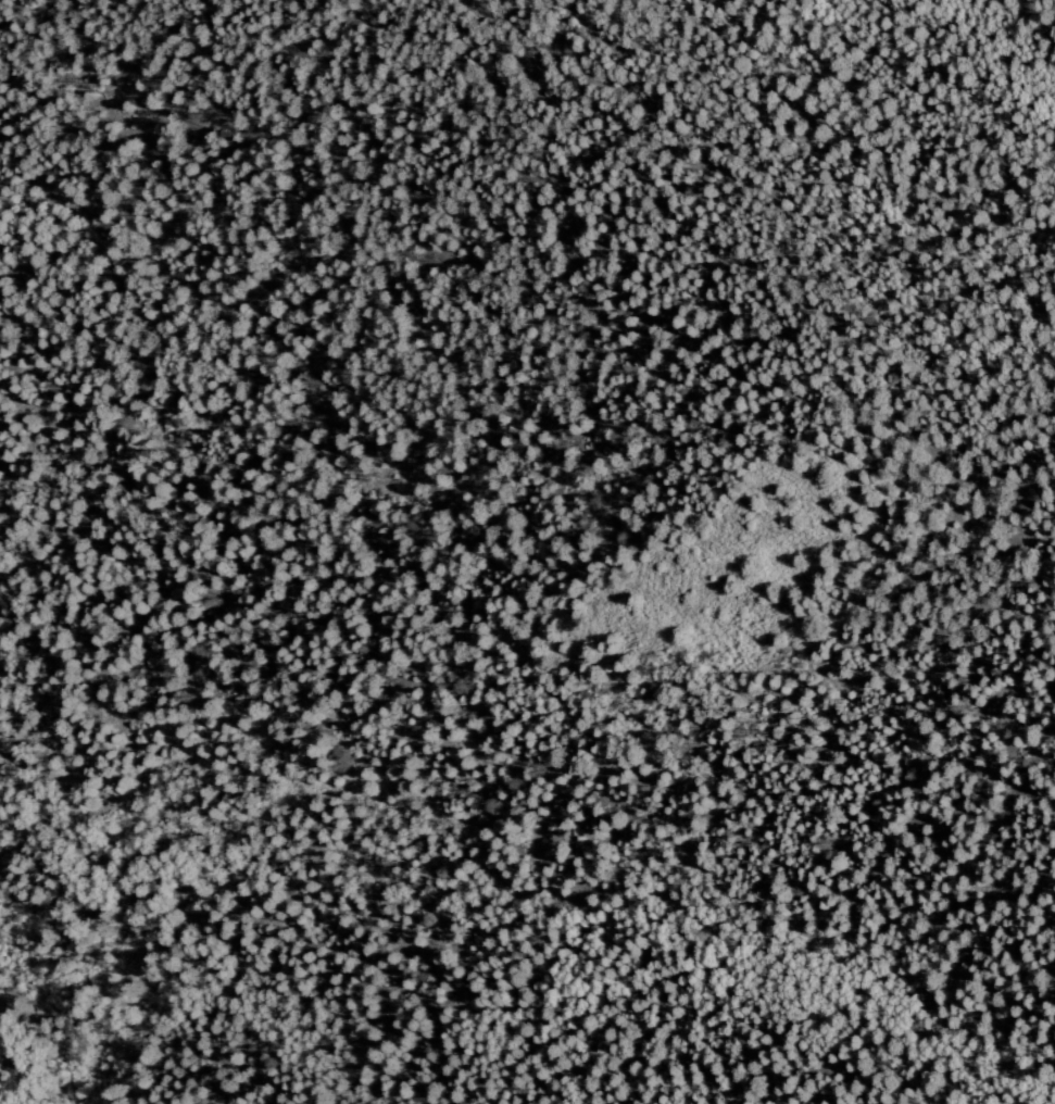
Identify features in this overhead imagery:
road: (15, 1065)

